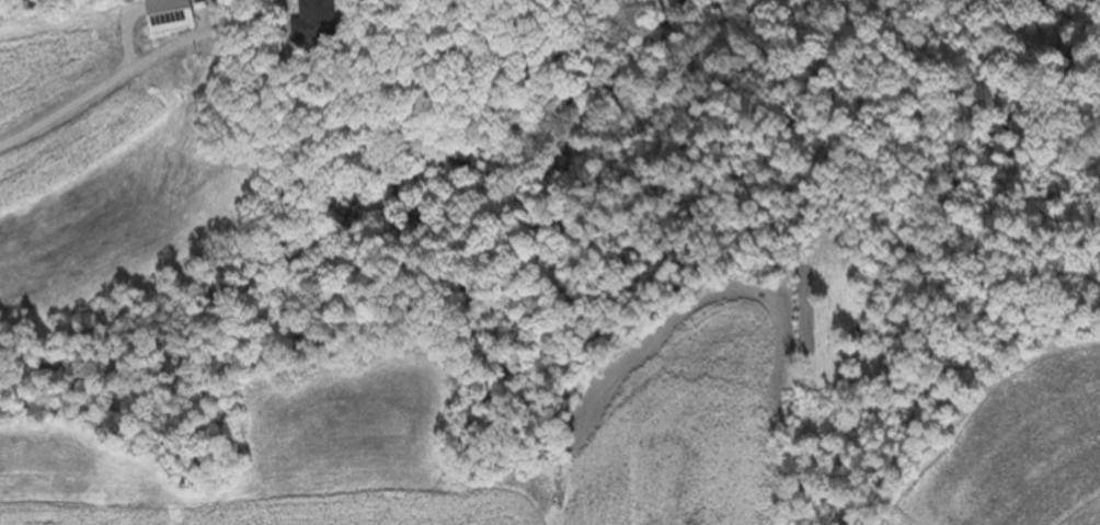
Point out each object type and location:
building: (314, 23)
road: (102, 89)

